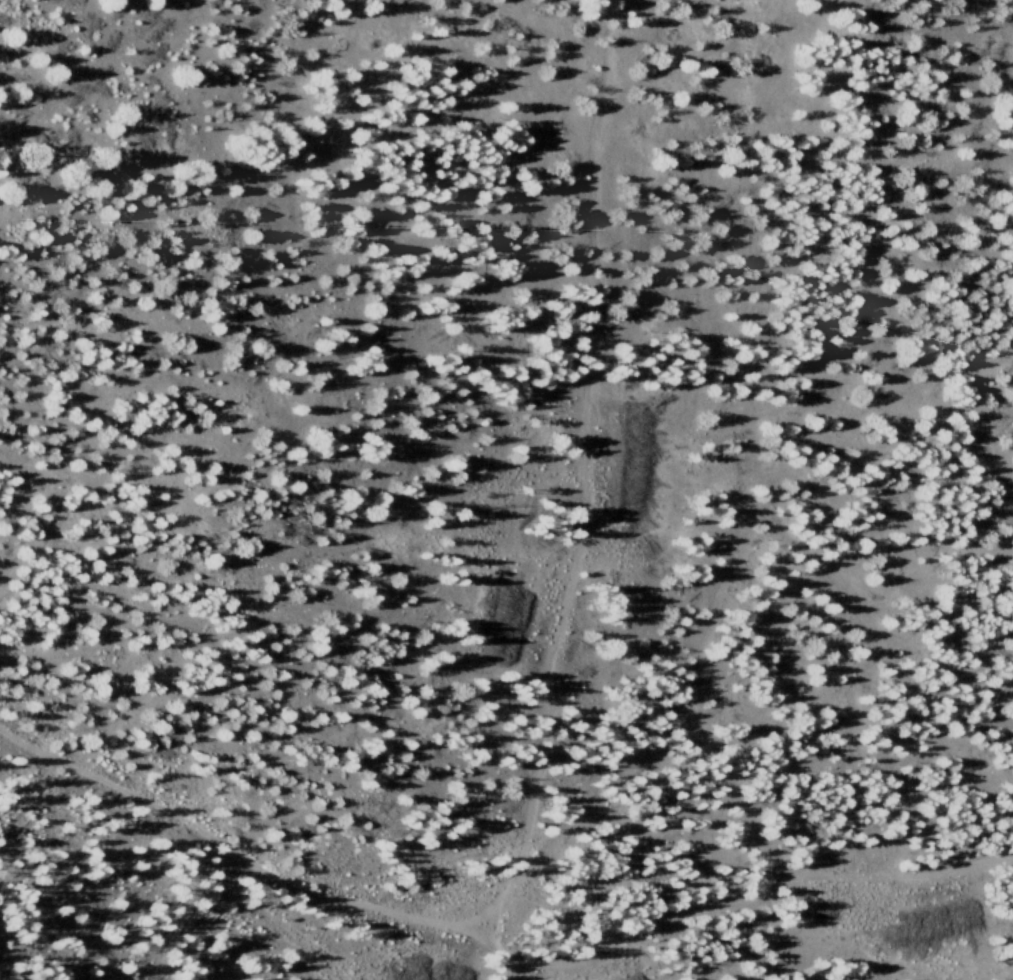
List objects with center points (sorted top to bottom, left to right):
road: (225, 847)

